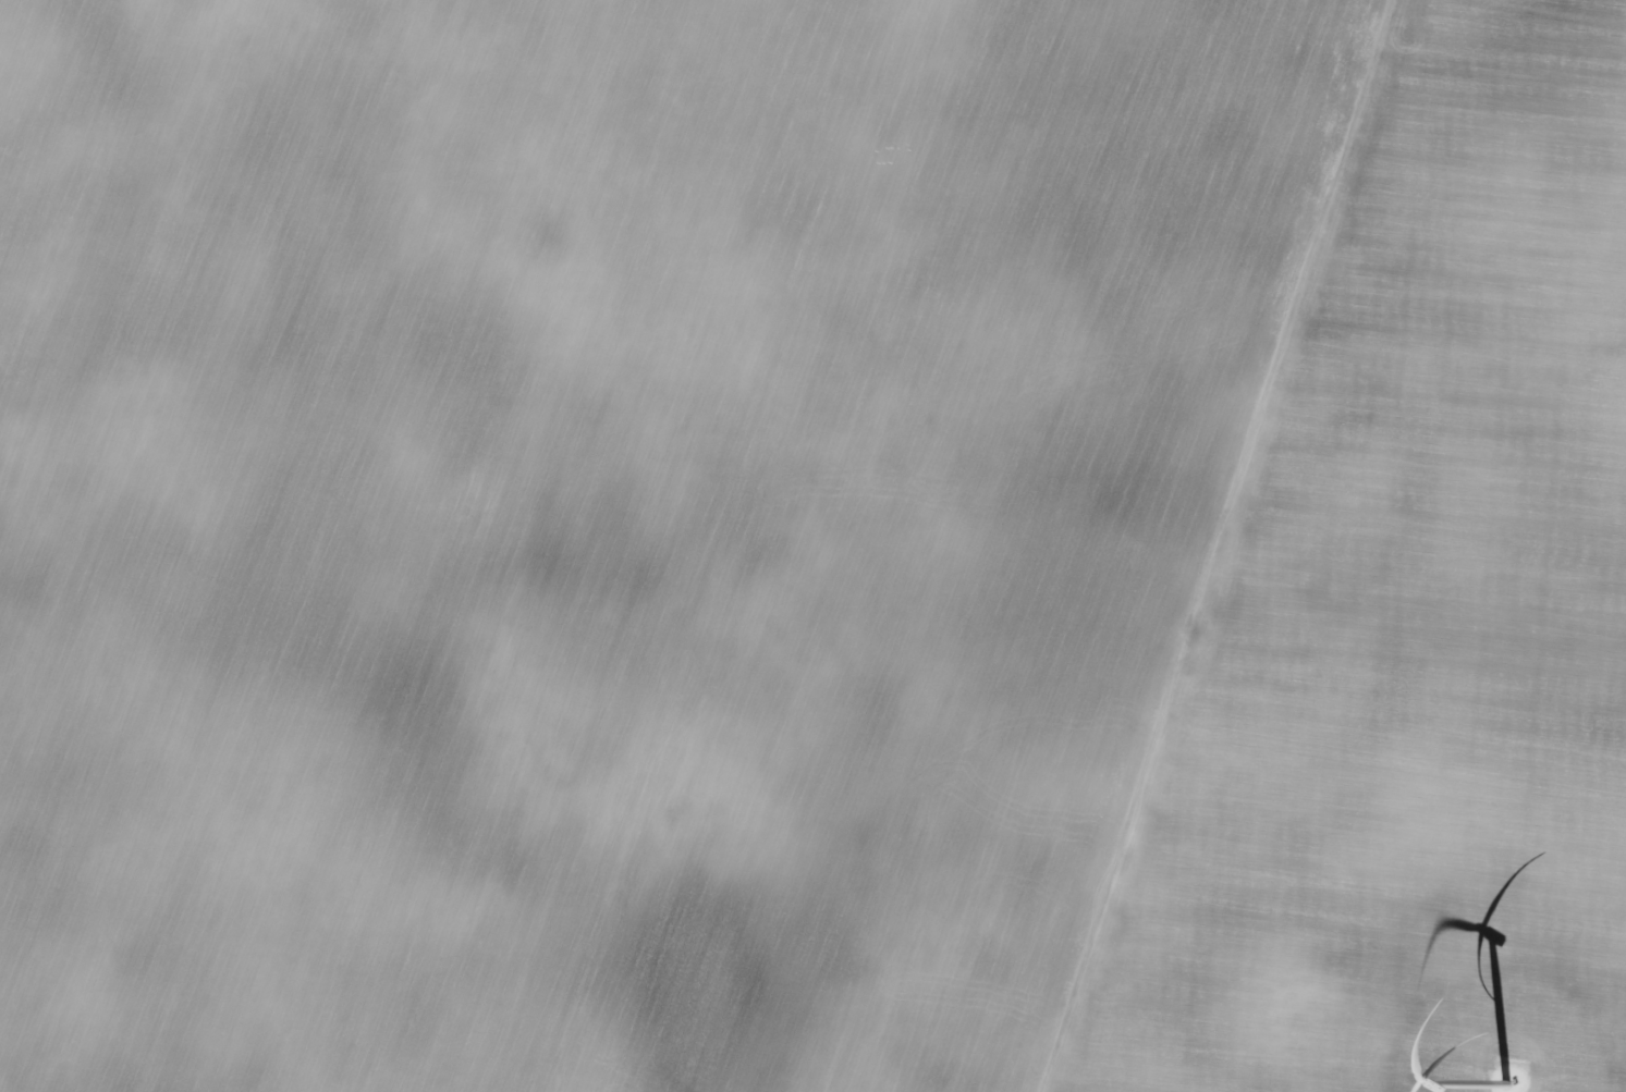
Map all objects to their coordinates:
wind turbine: (1504, 1085)

